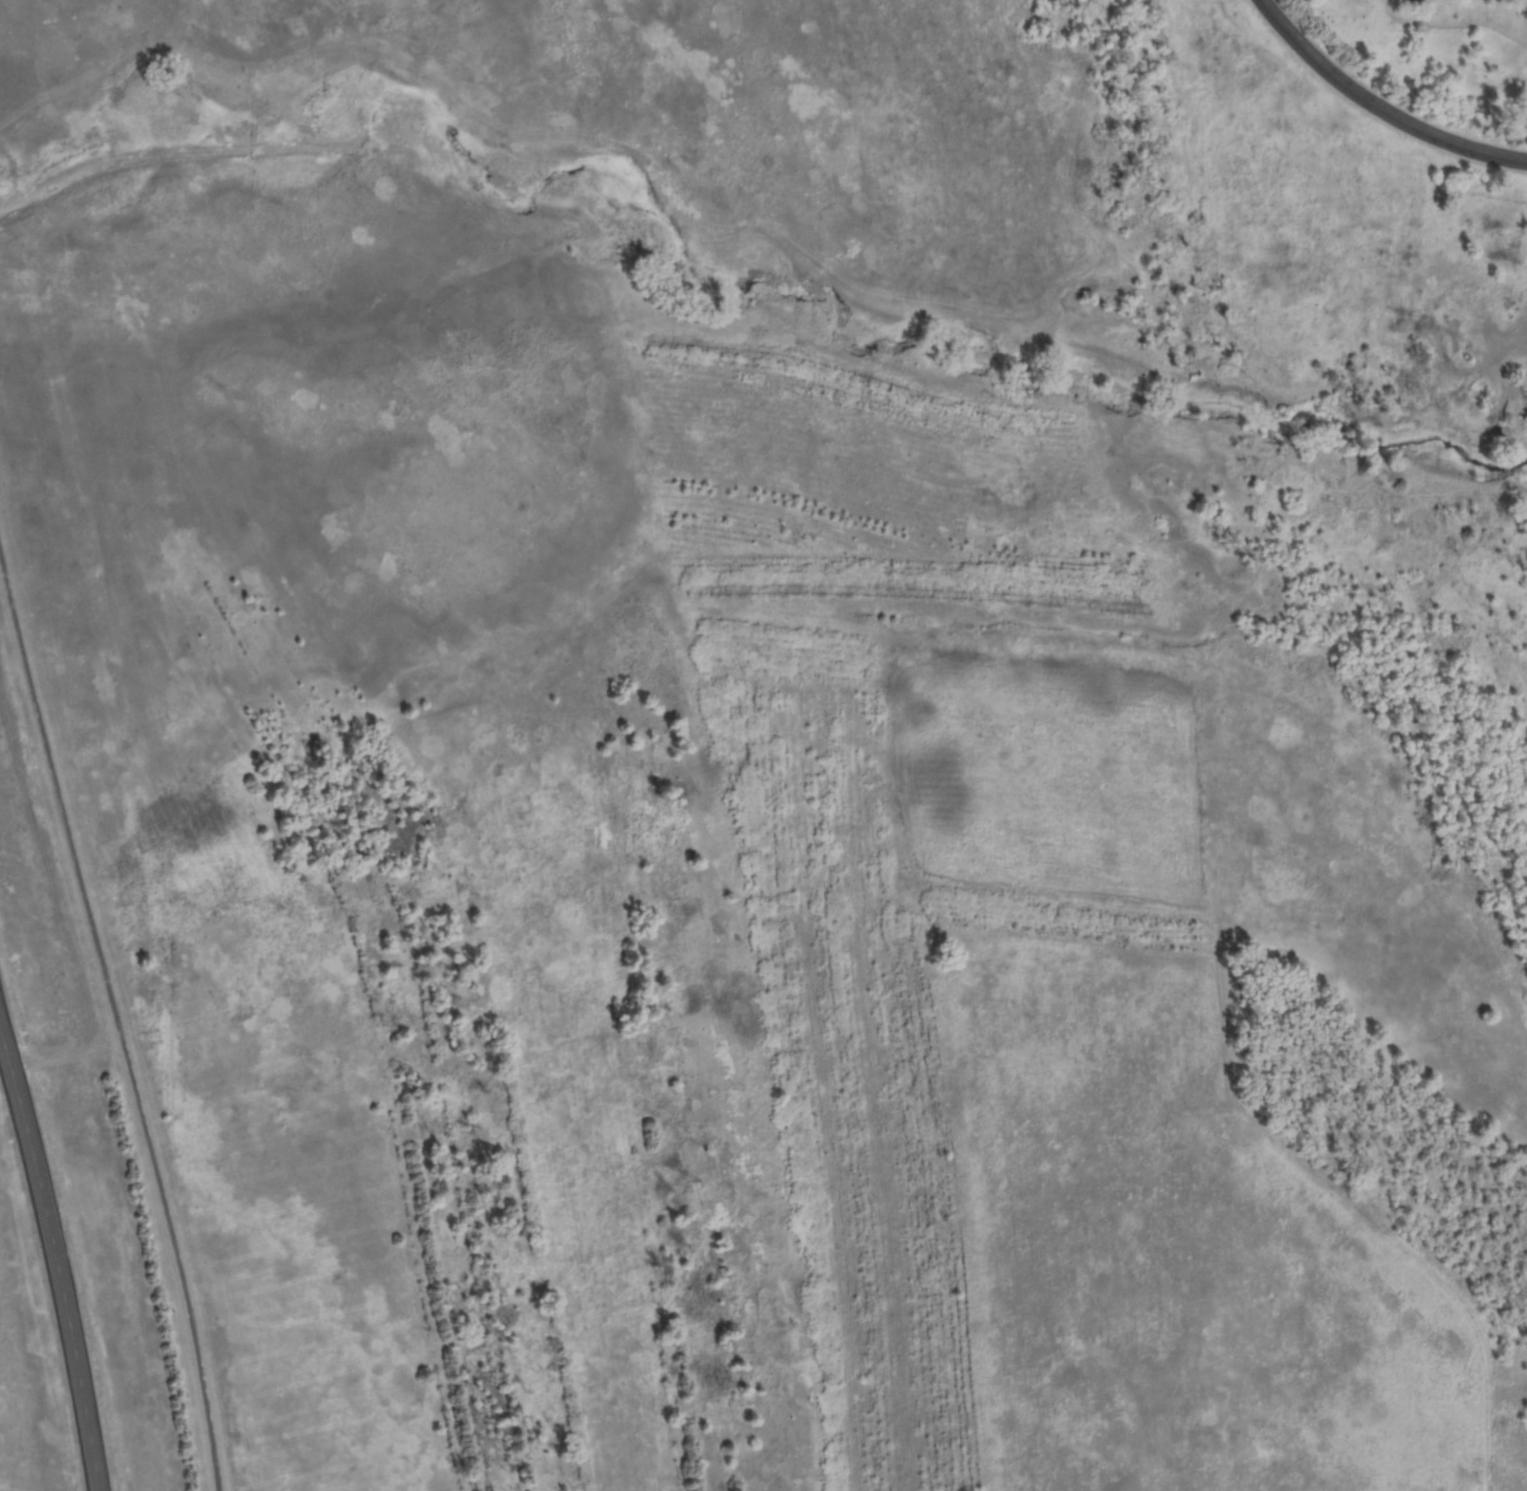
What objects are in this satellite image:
road: (1377, 110)
road: (119, 1017)
road: (54, 1263)

